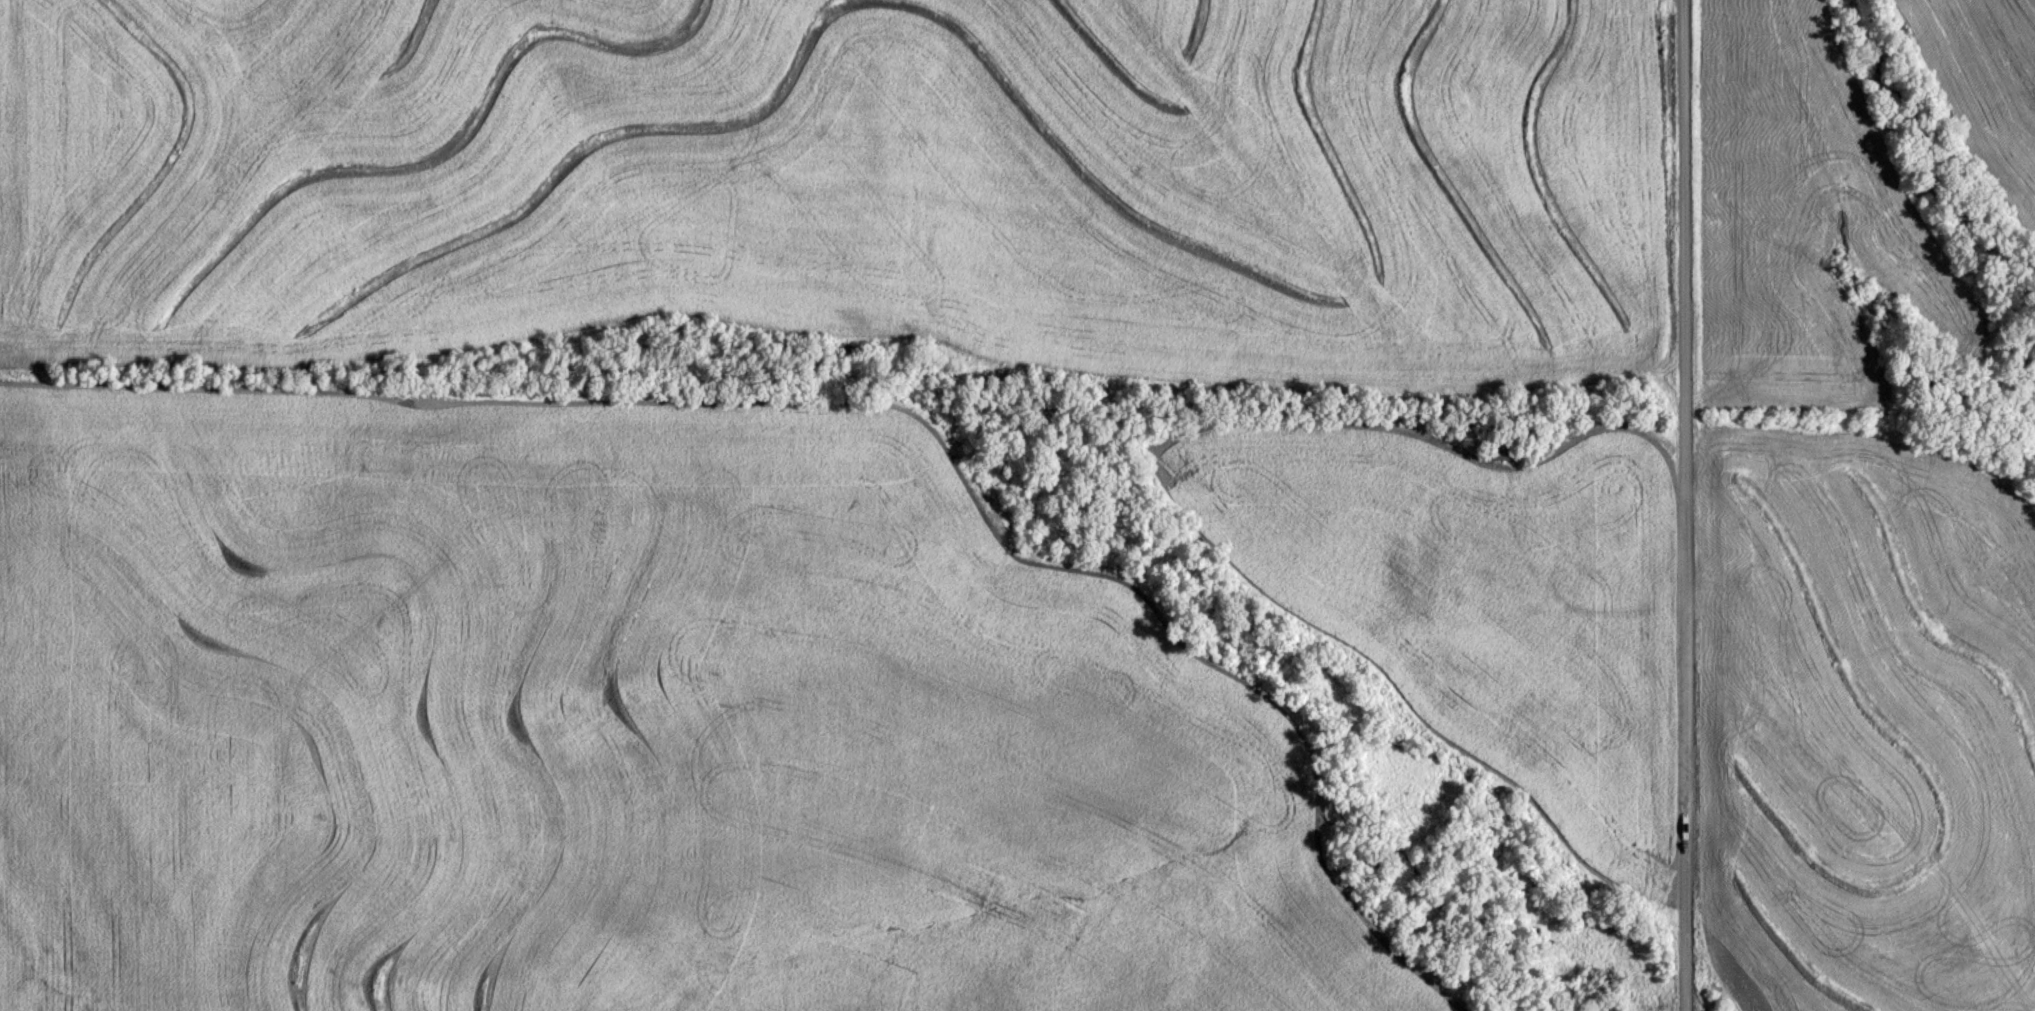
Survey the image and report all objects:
road: (1690, 505)

